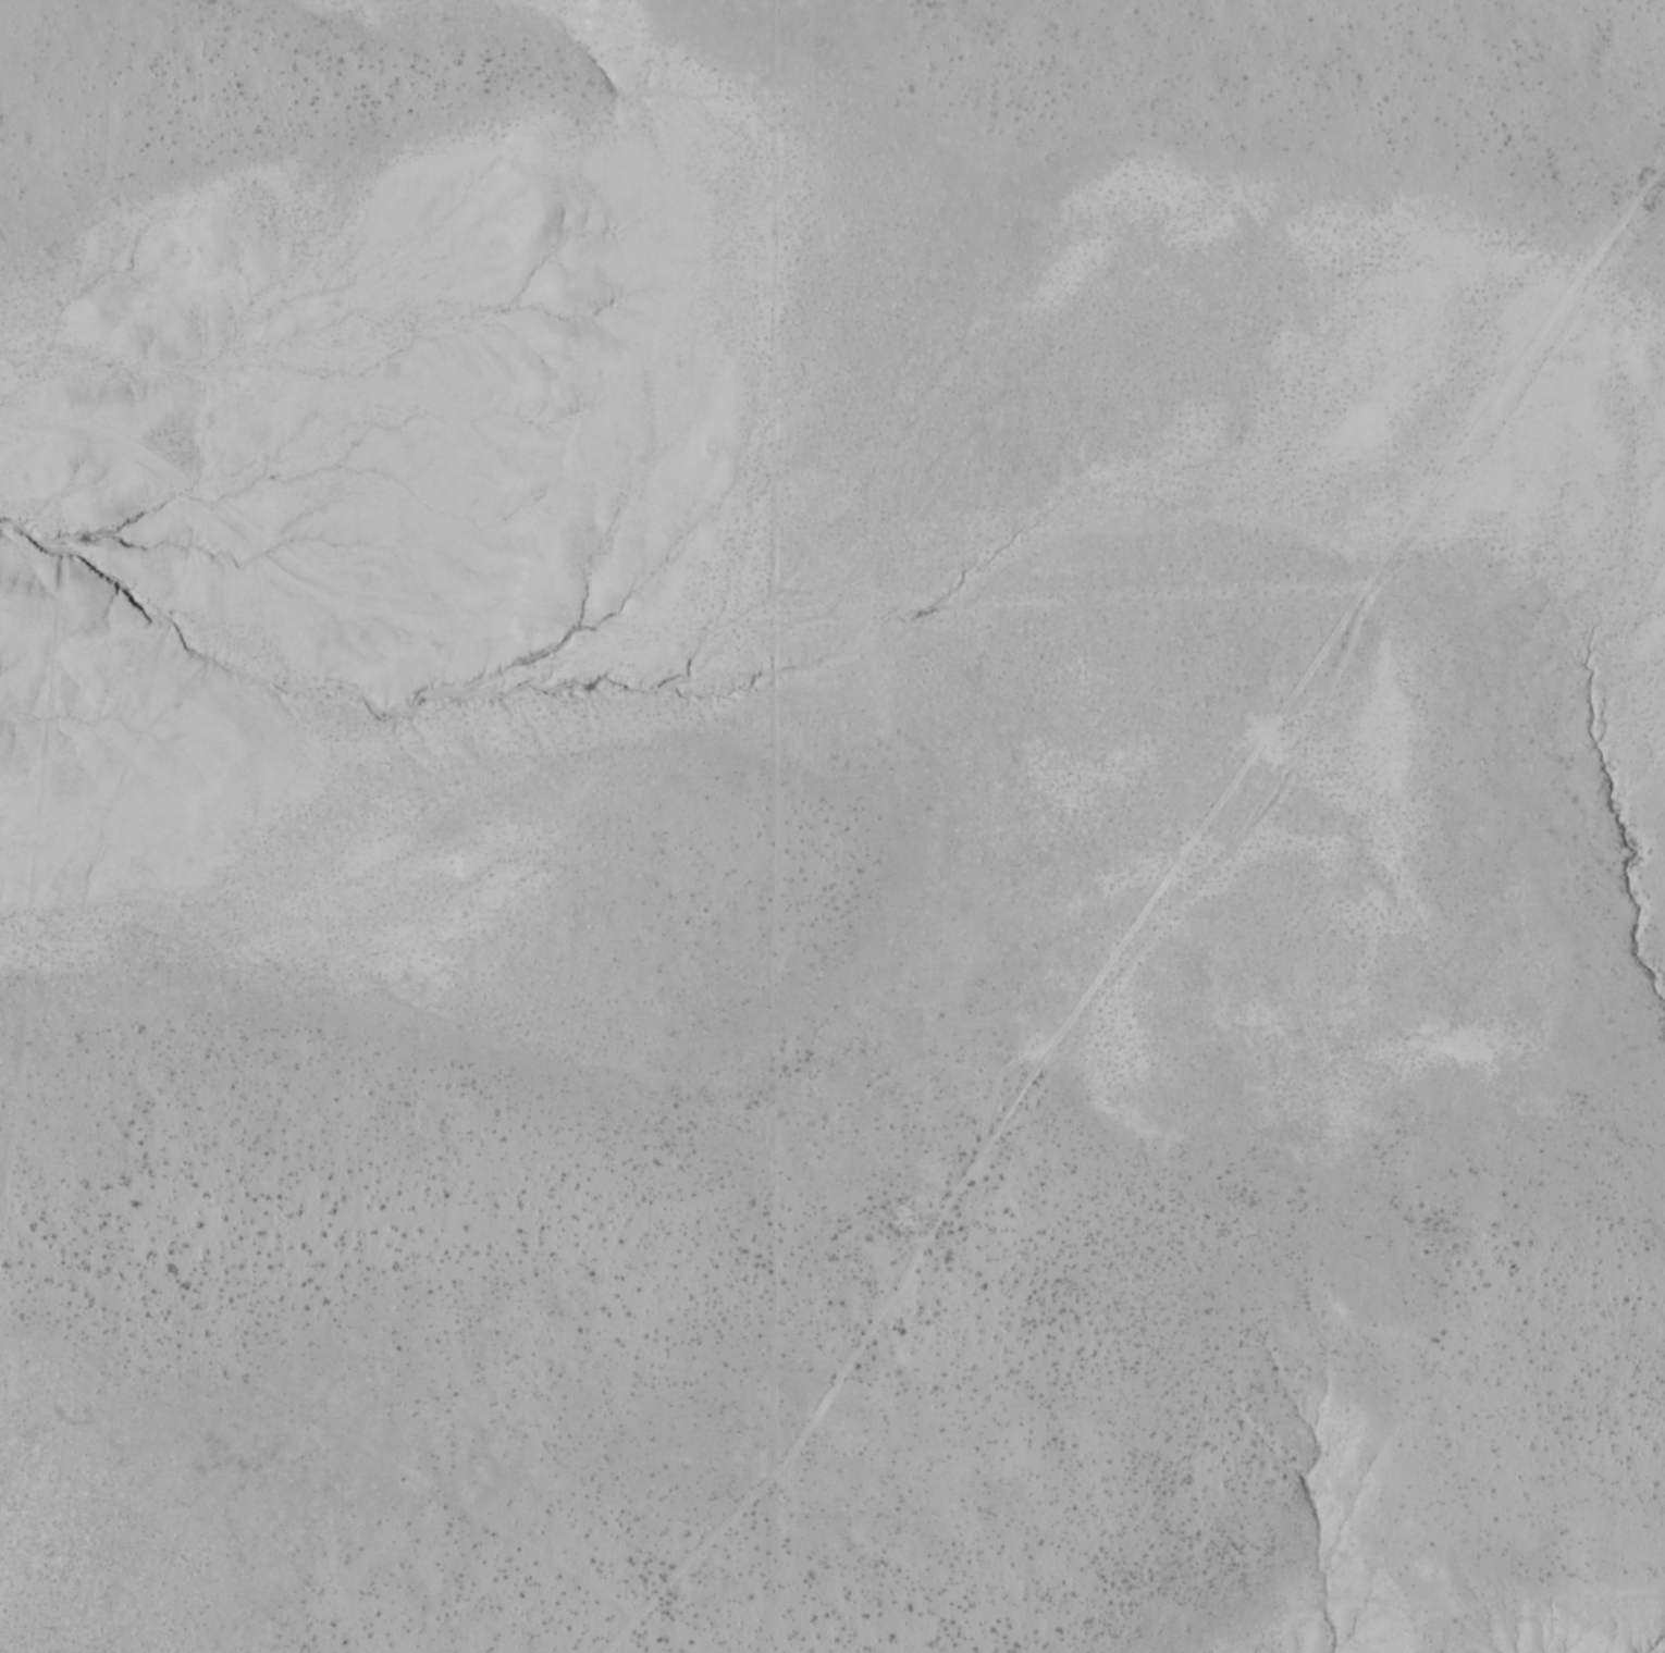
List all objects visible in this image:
road: (1106, 844)

